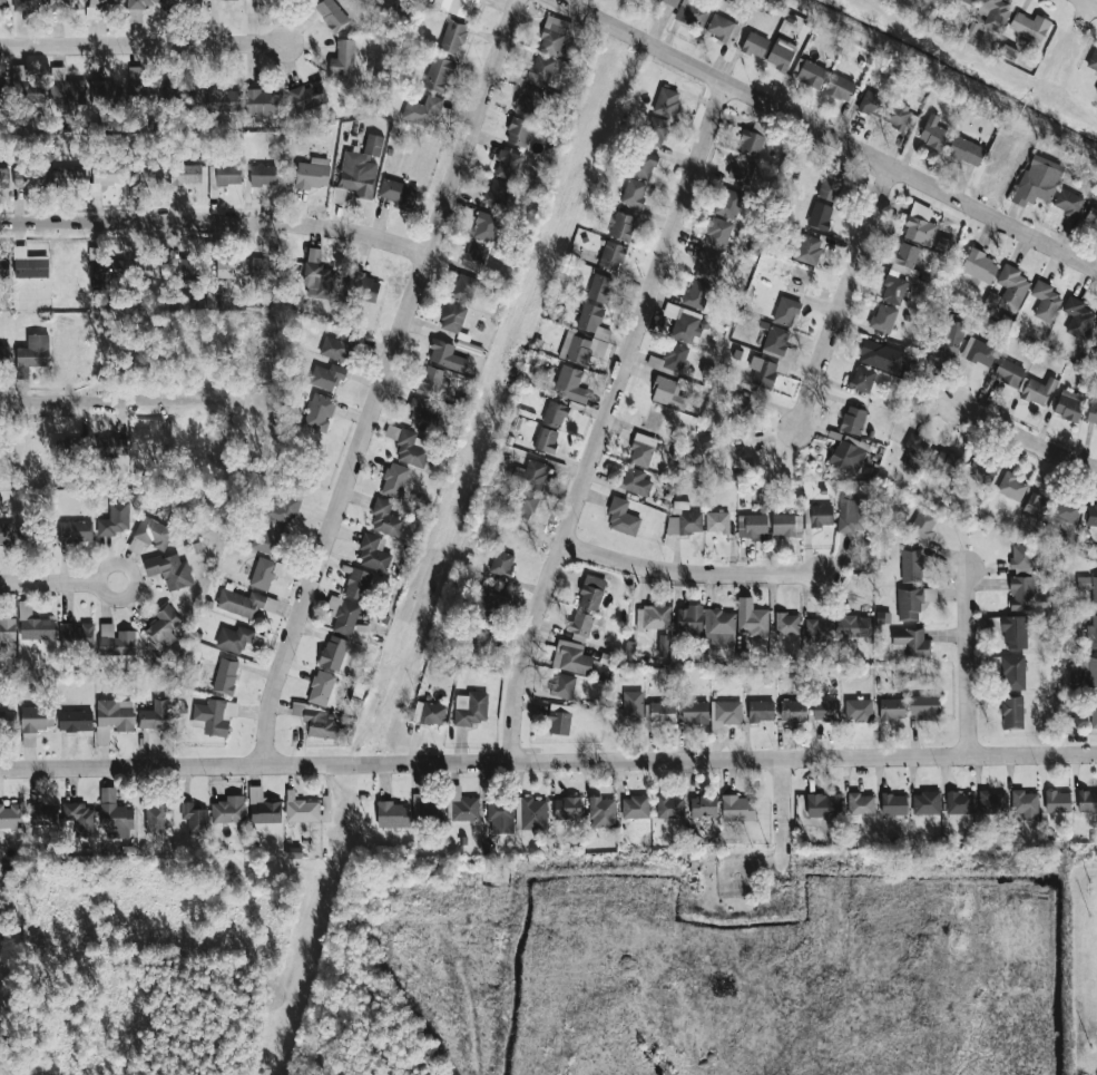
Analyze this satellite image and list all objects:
building: (969, 1)
road: (1095, 1)
building: (179, 2)
building: (670, 2)
building: (2, 3)
building: (66, 3)
building: (139, 3)
building: (28, 4)
building: (456, 7)
building: (94, 8)
building: (692, 12)
building: (993, 13)
building: (331, 14)
building: (1029, 26)
building: (719, 27)
building: (552, 36)
building: (452, 37)
road: (144, 42)
building: (754, 43)
building: (781, 53)
building: (342, 58)
building: (1093, 59)
building: (540, 70)
building: (439, 74)
building: (810, 74)
building: (26, 87)
building: (65, 87)
building: (141, 87)
building: (839, 87)
building: (184, 90)
building: (101, 92)
building: (307, 96)
building: (222, 100)
building: (666, 101)
building: (261, 102)
building: (529, 102)
building: (872, 104)
building: (422, 110)
building: (897, 114)
building: (656, 130)
building: (518, 131)
building: (932, 133)
road: (826, 135)
building: (750, 141)
building: (964, 150)
building: (507, 165)
building: (643, 165)
building: (361, 167)
building: (741, 168)
building: (107, 172)
building: (313, 173)
building: (185, 174)
building: (227, 174)
building: (262, 175)
building: (68, 176)
building: (4, 177)
building: (147, 177)
building: (1037, 180)
building: (830, 187)
building: (398, 193)
building: (497, 193)
building: (633, 193)
building: (339, 195)
building: (1067, 202)
building: (727, 203)
building: (820, 215)
building: (1091, 216)
road: (216, 222)
building: (919, 225)
building: (484, 226)
building: (621, 226)
building: (718, 232)
building: (809, 248)
building: (474, 255)
building: (611, 255)
building: (904, 258)
building: (28, 264)
building: (706, 265)
building: (979, 266)
building: (3, 267)
building: (228, 267)
building: (263, 267)
building: (175, 270)
building: (105, 272)
building: (362, 287)
building: (462, 287)
building: (599, 287)
building: (1011, 287)
building: (893, 290)
road: (845, 293)
building: (696, 294)
building: (1045, 301)
building: (786, 311)
building: (1077, 316)
building: (452, 317)
building: (883, 317)
building: (683, 322)
building: (1096, 324)
building: (951, 334)
building: (585, 336)
building: (774, 341)
building: (335, 346)
building: (1096, 349)
building: (979, 352)
building: (4, 354)
building: (32, 354)
building: (445, 355)
building: (881, 356)
building: (669, 359)
building: (786, 362)
building: (763, 372)
building: (1008, 372)
building: (326, 375)
building: (862, 379)
road: (385, 381)
building: (430, 381)
building: (570, 384)
building: (1036, 390)
building: (667, 392)
road: (120, 398)
building: (1069, 404)
building: (319, 412)
building: (421, 412)
building: (555, 412)
building: (1091, 412)
building: (852, 419)
road: (605, 420)
building: (1096, 426)
road: (1027, 436)
building: (546, 439)
building: (707, 440)
building: (408, 444)
building: (112, 446)
building: (641, 449)
building: (848, 453)
building: (931, 459)
building: (981, 470)
building: (394, 480)
building: (635, 480)
building: (1011, 486)
building: (526, 488)
building: (1036, 506)
building: (281, 509)
building: (1066, 511)
building: (821, 515)
building: (1091, 515)
building: (385, 518)
building: (621, 518)
building: (115, 519)
building: (715, 521)
building: (684, 524)
building: (785, 524)
building: (923, 524)
building: (754, 526)
building: (78, 530)
building: (149, 534)
building: (7, 535)
building: (37, 535)
building: (268, 540)
building: (373, 551)
building: (1020, 557)
building: (501, 563)
building: (911, 566)
building: (169, 570)
building: (263, 573)
road: (688, 574)
building: (357, 584)
road: (60, 585)
building: (1088, 587)
building: (591, 593)
building: (1020, 593)
building: (912, 602)
building: (488, 603)
building: (343, 615)
building: (653, 617)
building: (751, 617)
building: (881, 617)
building: (689, 619)
building: (580, 623)
building: (786, 623)
building: (32, 624)
building: (718, 626)
building: (163, 627)
building: (852, 627)
building: (7, 628)
building: (817, 631)
building: (1091, 631)
building: (1013, 632)
building: (76, 634)
building: (233, 638)
building: (116, 641)
building: (911, 643)
building: (476, 645)
building: (663, 645)
building: (333, 652)
building: (570, 656)
road: (964, 662)
building: (1008, 670)
building: (1089, 671)
building: (1075, 673)
building: (225, 675)
building: (562, 685)
building: (321, 687)
building: (924, 706)
building: (629, 707)
building: (891, 708)
building: (471, 710)
building: (761, 710)
building: (792, 710)
building: (824, 710)
building: (858, 710)
building: (1093, 710)
building: (659, 711)
building: (694, 712)
building: (1011, 712)
building: (431, 713)
building: (115, 714)
building: (724, 714)
building: (156, 715)
building: (213, 715)
building: (36, 717)
building: (559, 719)
building: (7, 720)
building: (75, 720)
building: (321, 723)
road: (548, 761)
building: (991, 801)
building: (1057, 801)
building: (1087, 801)
road: (783, 802)
building: (925, 802)
building: (959, 802)
building: (860, 803)
building: (894, 803)
building: (1025, 803)
building: (823, 804)
building: (461, 805)
building: (703, 805)
building: (263, 807)
building: (635, 807)
building: (668, 807)
building: (567, 808)
building: (737, 808)
building: (228, 809)
building: (300, 809)
building: (601, 812)
building: (42, 813)
building: (530, 813)
building: (392, 814)
building: (500, 814)
building: (10, 815)
building: (115, 815)
building: (194, 817)
building: (79, 818)
building: (155, 818)

